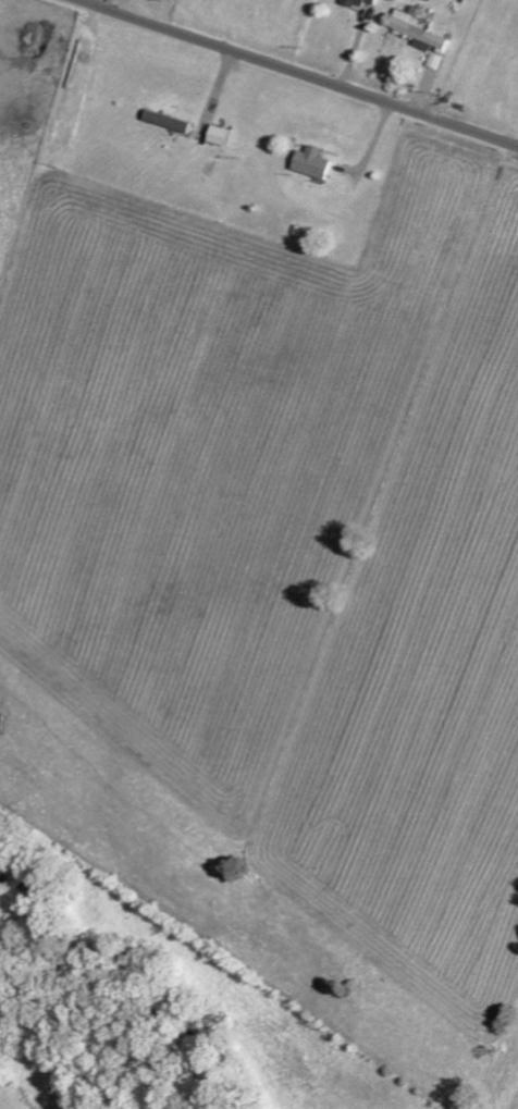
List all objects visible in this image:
building: (355, 1)
building: (414, 27)
road: (300, 73)
building: (171, 121)
building: (224, 135)
building: (310, 162)

